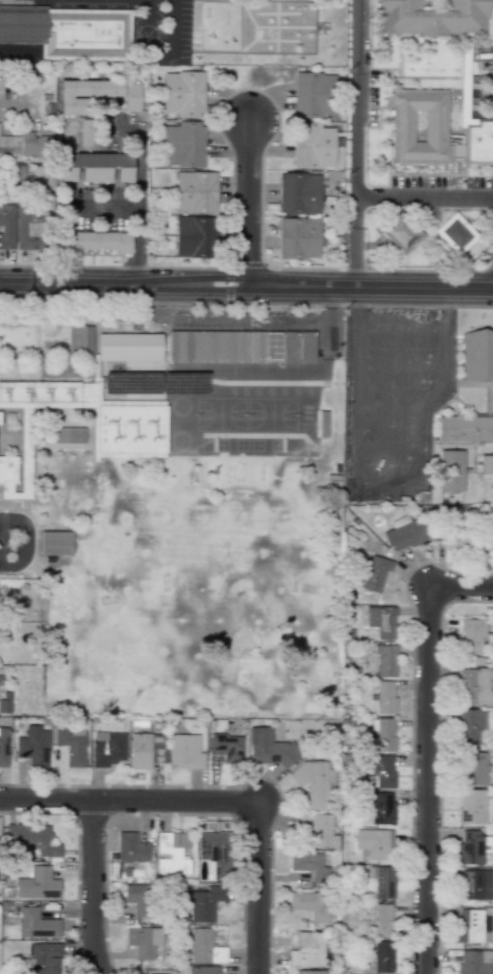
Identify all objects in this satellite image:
building: (432, 17)
road: (186, 29)
building: (68, 31)
road: (16, 55)
building: (1, 83)
building: (96, 94)
building: (183, 94)
building: (313, 94)
road: (359, 97)
road: (18, 102)
building: (434, 131)
building: (86, 132)
building: (9, 143)
building: (33, 143)
building: (183, 145)
building: (312, 146)
building: (95, 167)
road: (137, 189)
building: (195, 192)
building: (298, 193)
road: (378, 195)
road: (248, 203)
road: (101, 208)
building: (30, 220)
building: (6, 226)
building: (400, 233)
building: (455, 233)
building: (192, 237)
building: (299, 238)
building: (94, 241)
road: (246, 286)
road: (403, 328)
building: (80, 340)
building: (208, 346)
building: (255, 347)
building: (272, 347)
building: (289, 347)
building: (305, 347)
building: (478, 355)
parking lot: (394, 399)
road: (356, 403)
road: (430, 403)
building: (1, 417)
building: (465, 428)
building: (129, 431)
building: (67, 435)
building: (486, 463)
building: (452, 471)
road: (386, 480)
building: (404, 533)
building: (452, 537)
road: (22, 542)
building: (488, 542)
building: (54, 543)
building: (381, 621)
building: (471, 637)
building: (385, 661)
building: (0, 682)
building: (475, 686)
building: (385, 697)
building: (5, 703)
building: (468, 727)
building: (383, 733)
building: (71, 744)
building: (33, 747)
building: (226, 747)
building: (107, 748)
building: (269, 748)
building: (146, 750)
building: (184, 751)
road: (428, 754)
building: (472, 768)
building: (382, 771)
building: (314, 782)
road: (134, 800)
building: (471, 806)
building: (380, 808)
building: (317, 830)
building: (31, 838)
building: (374, 843)
building: (131, 847)
building: (470, 847)
building: (212, 849)
building: (172, 852)
building: (308, 865)
building: (382, 881)
building: (37, 884)
building: (475, 884)
road: (96, 887)
building: (139, 899)
road: (258, 900)
building: (203, 902)
building: (310, 904)
building: (382, 919)
building: (36, 924)
building: (471, 925)
building: (142, 941)
building: (205, 947)
building: (308, 949)
building: (383, 957)
building: (45, 958)
building: (475, 962)
building: (203, 970)
building: (309, 971)

